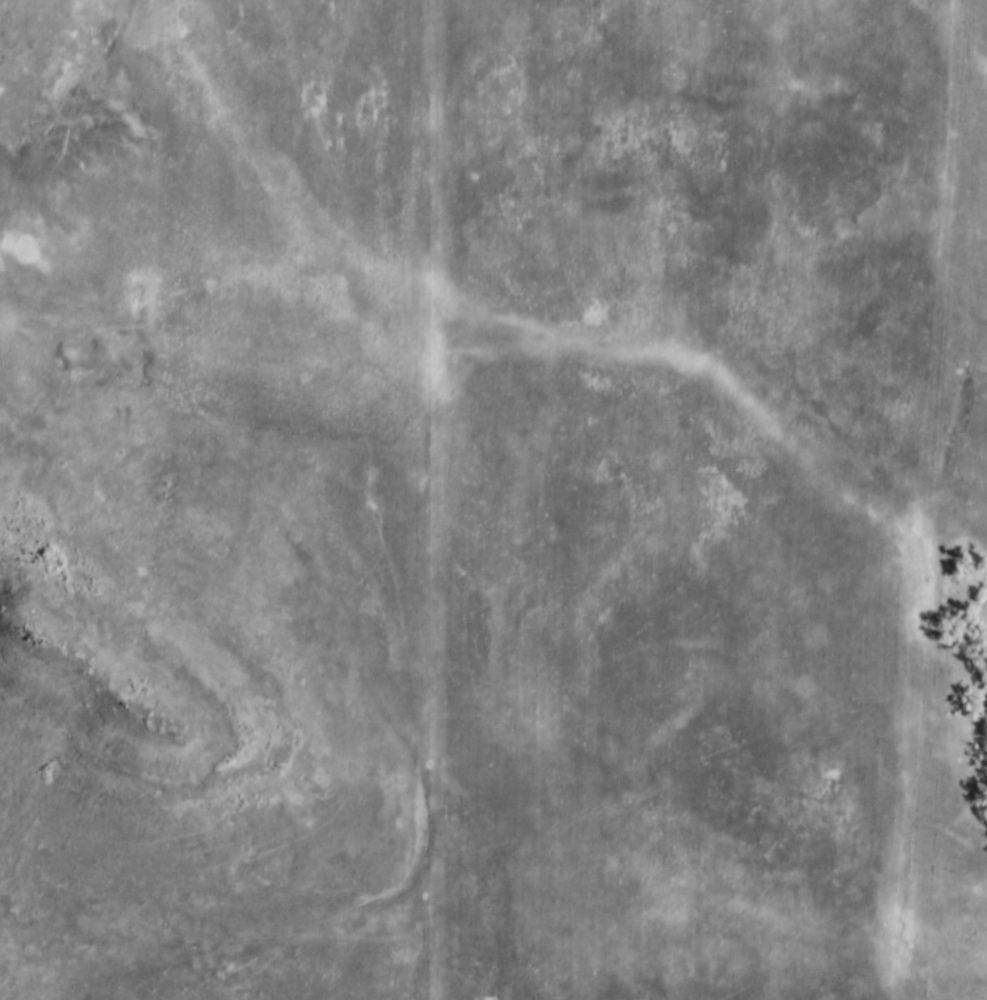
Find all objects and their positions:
road: (270, 502)

